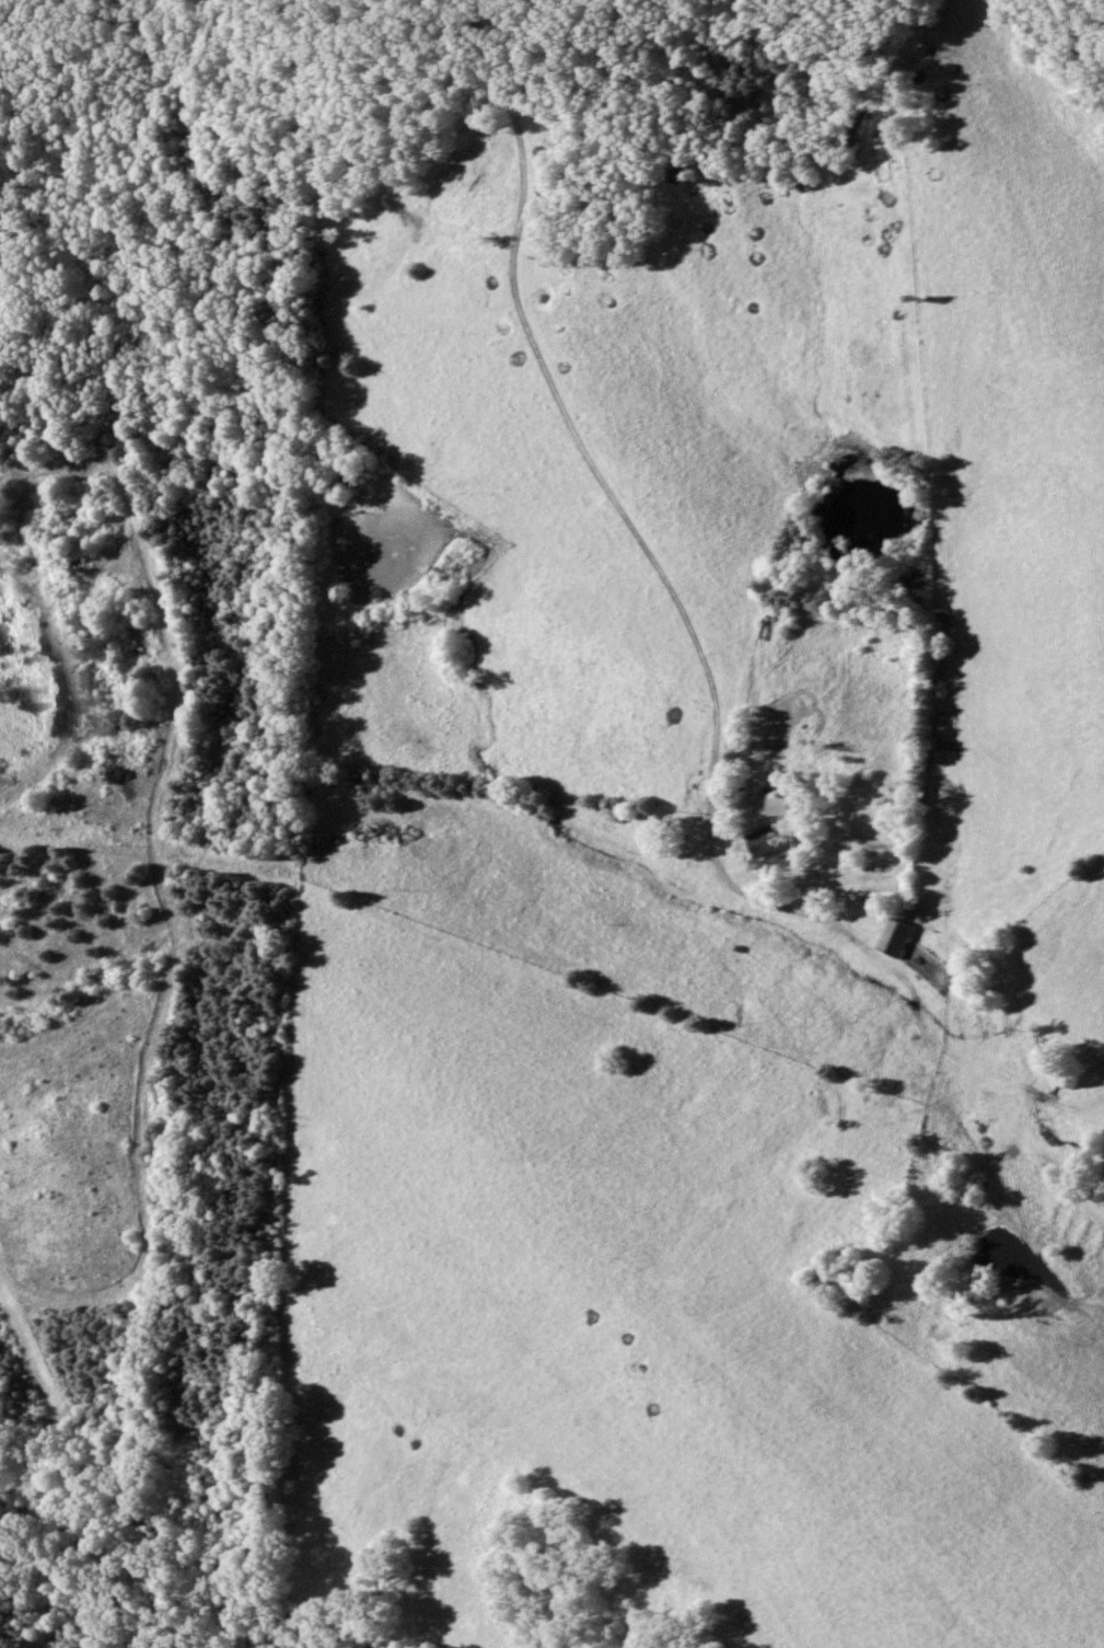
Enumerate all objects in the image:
road: (634, 520)
building: (782, 805)
building: (769, 842)
building: (898, 937)

